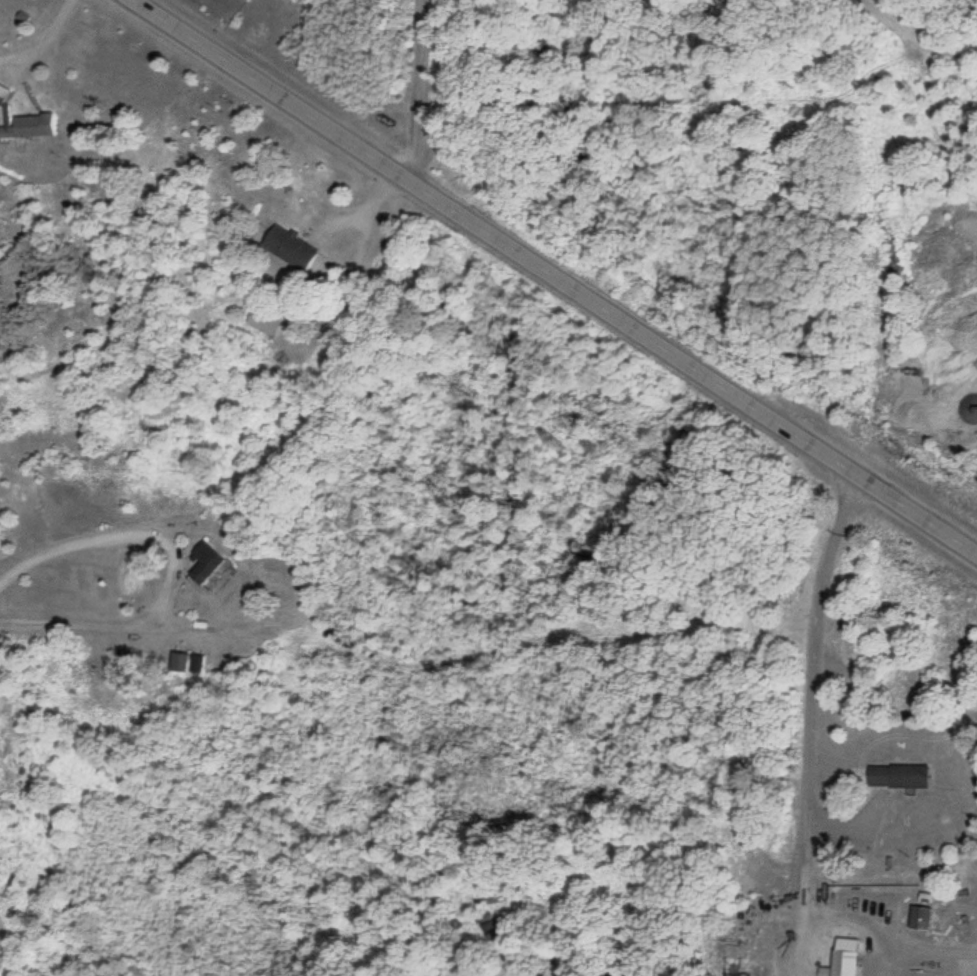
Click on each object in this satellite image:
building: (4, 93)
building: (34, 124)
building: (294, 249)
road: (554, 278)
building: (268, 320)
building: (211, 565)
road: (808, 722)
building: (901, 775)
building: (489, 927)
building: (848, 957)

